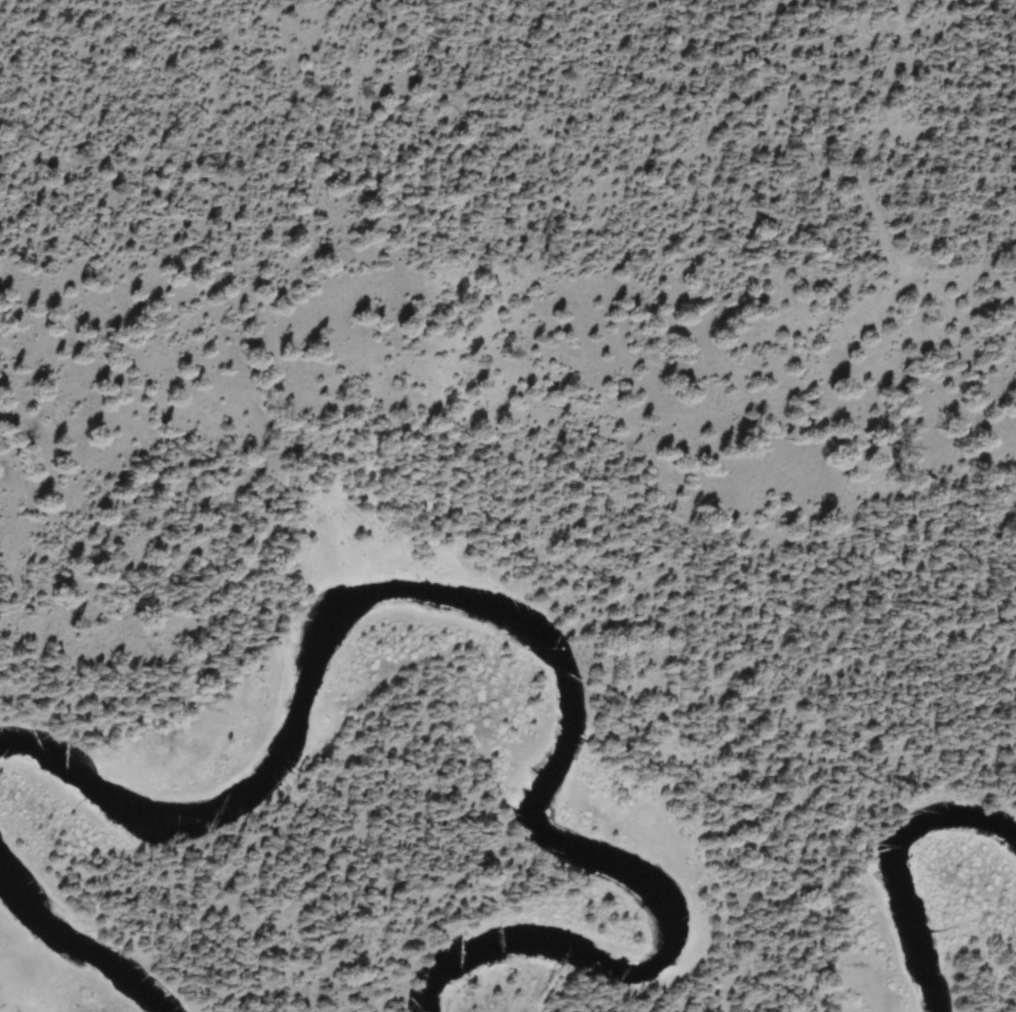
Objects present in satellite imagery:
road: (866, 194)
river: (534, 646)
river: (895, 865)
river: (79, 943)

